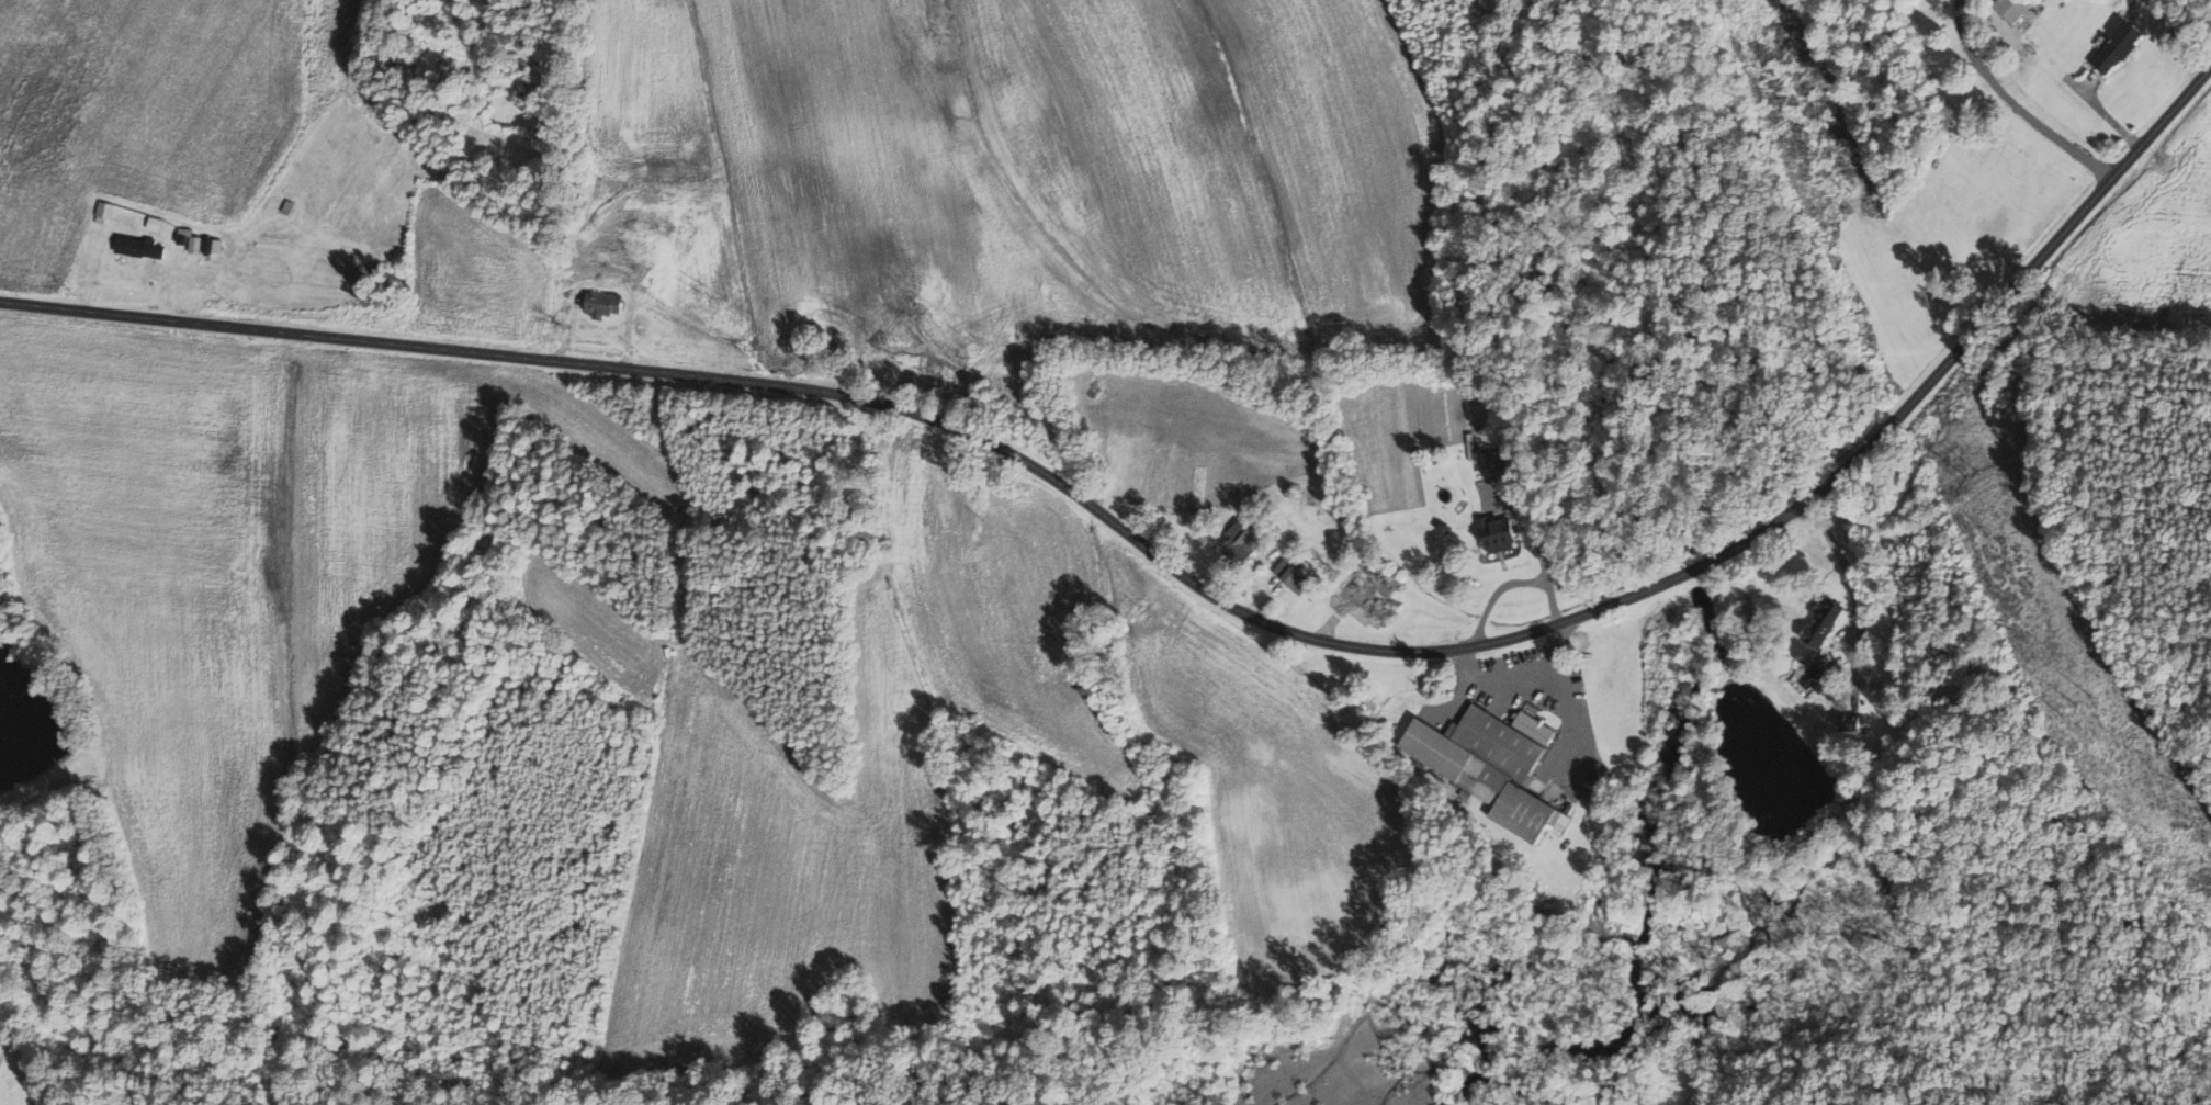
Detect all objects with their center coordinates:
building: (2018, 9)
building: (2120, 47)
road: (2016, 103)
building: (105, 212)
building: (200, 243)
building: (139, 247)
building: (586, 266)
building: (605, 304)
road: (2019, 422)
power tower: (1973, 474)
building: (1499, 535)
building: (1243, 543)
road: (1542, 555)
road: (1843, 565)
building: (1294, 576)
road: (1511, 582)
road: (1195, 590)
building: (1826, 622)
power tower: (2082, 704)
building: (1853, 723)
building: (1491, 767)

